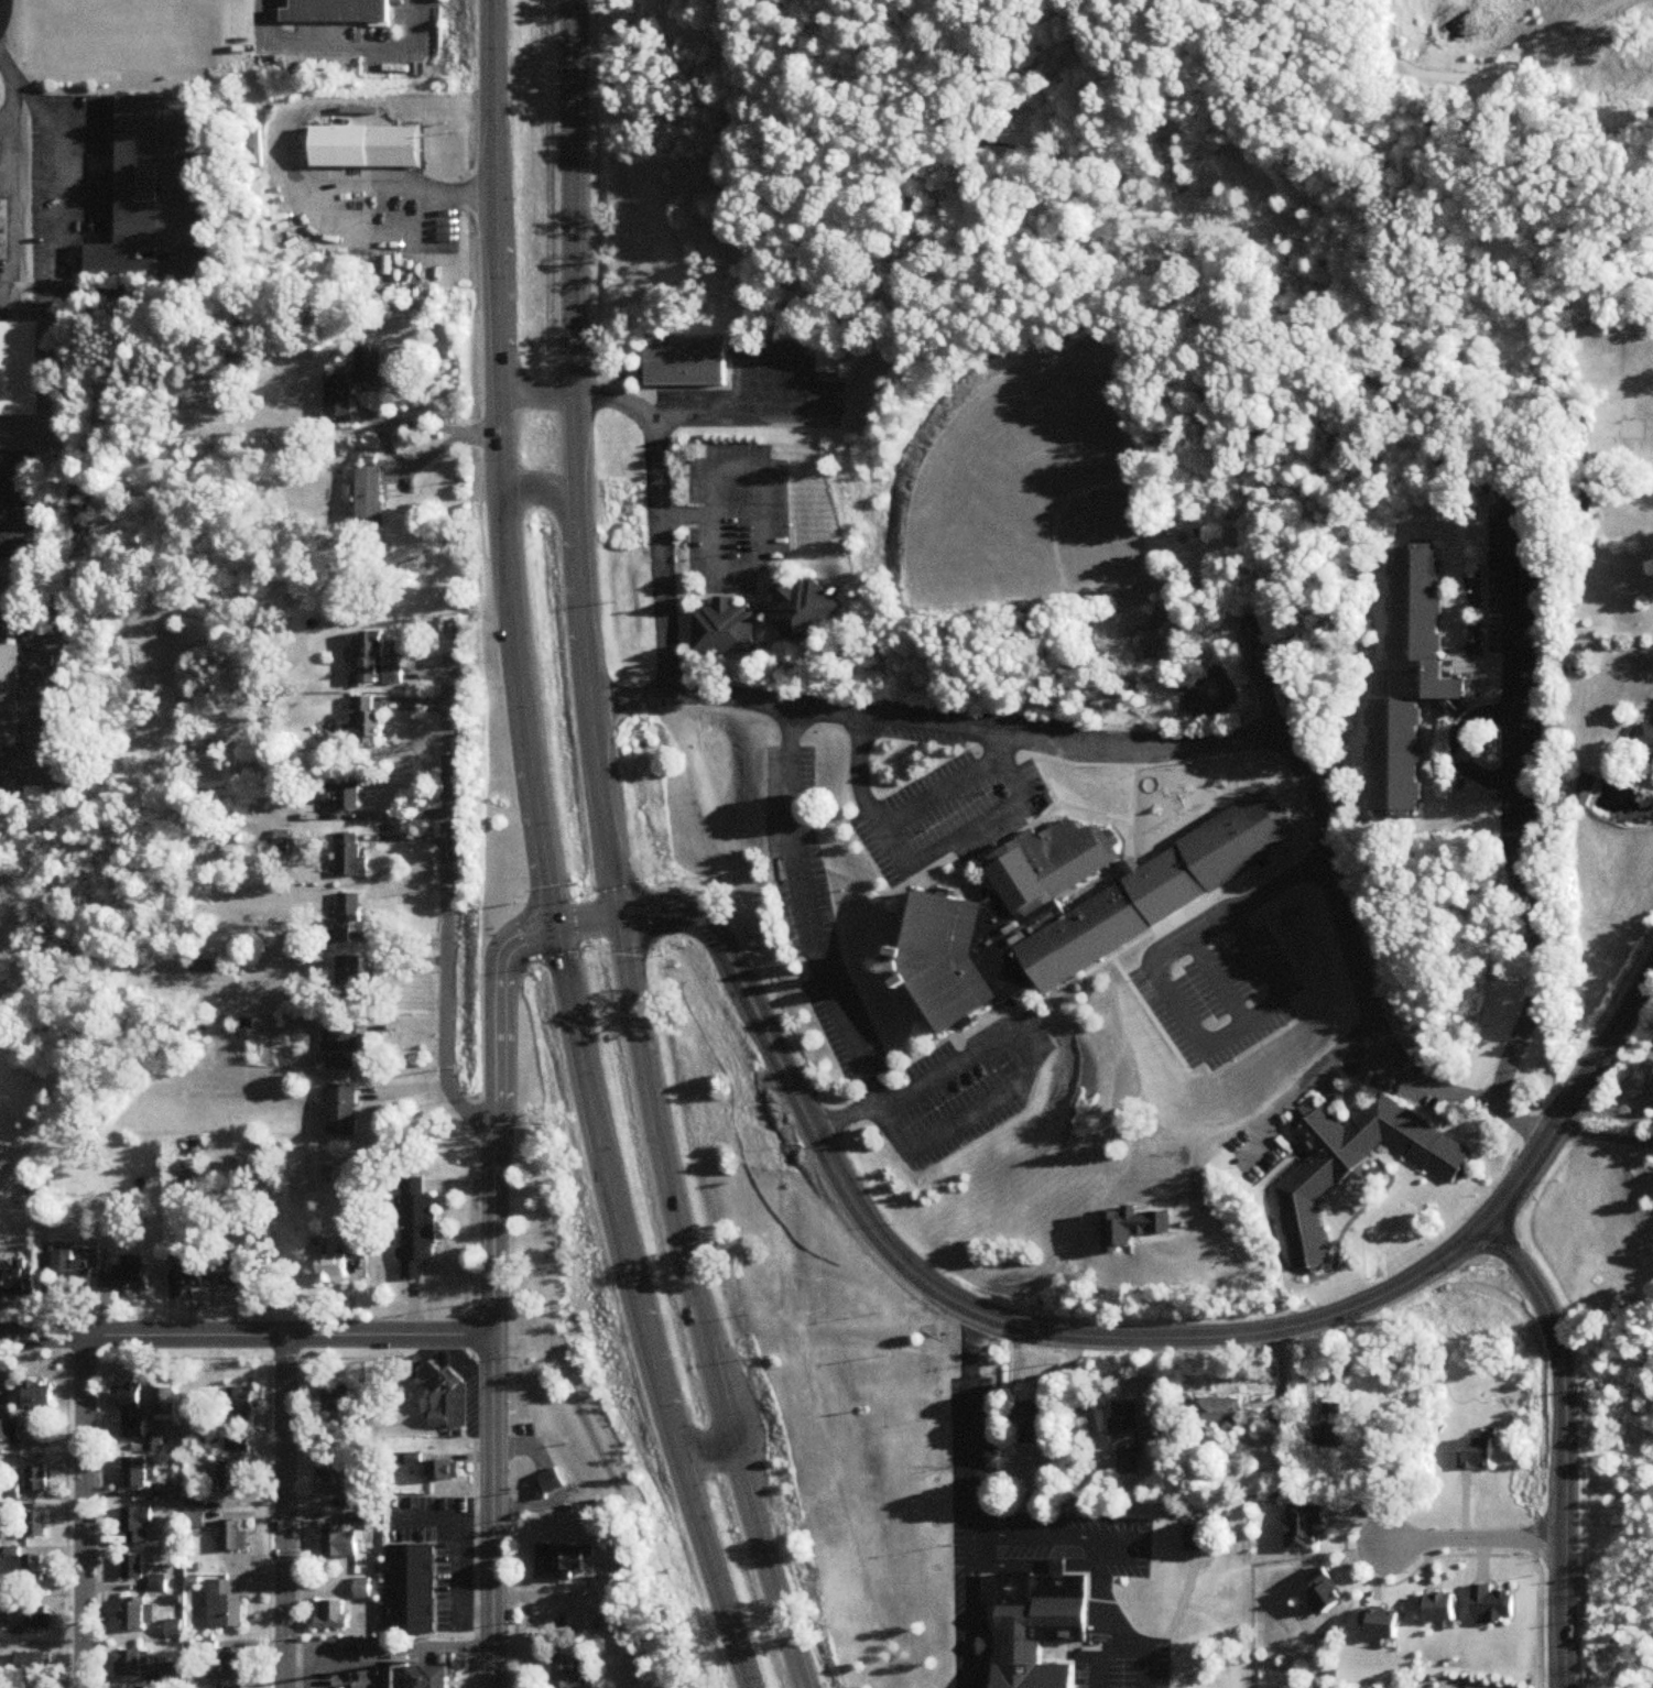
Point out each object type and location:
building: (329, 9)
road: (330, 40)
road: (39, 107)
road: (3, 120)
building: (365, 142)
road: (10, 184)
building: (152, 185)
road: (48, 190)
road: (329, 196)
road: (74, 214)
building: (828, 358)
building: (15, 362)
building: (685, 363)
building: (369, 367)
building: (337, 396)
road: (531, 398)
road: (429, 427)
road: (387, 448)
road: (427, 455)
road: (575, 459)
road: (505, 464)
road: (7, 470)
road: (759, 491)
building: (369, 498)
road: (552, 498)
park: (1033, 508)
road: (660, 513)
road: (8, 521)
building: (1536, 579)
building: (803, 610)
building: (1274, 623)
building: (724, 629)
building: (376, 662)
building: (1411, 680)
building: (9, 695)
road: (36, 697)
building: (367, 722)
road: (933, 726)
building: (1646, 737)
road: (1462, 747)
road: (1138, 767)
building: (1589, 788)
building: (346, 798)
road: (1129, 815)
road: (902, 818)
road: (1119, 818)
road: (1109, 824)
road: (967, 832)
road: (1511, 834)
park: (1214, 851)
building: (349, 857)
road: (1195, 857)
building: (1239, 880)
road: (950, 884)
road: (887, 894)
road: (1334, 901)
road: (446, 904)
building: (1133, 907)
road: (1183, 913)
road: (694, 917)
building: (344, 918)
traffic signals: (619, 918)
road: (587, 922)
traffic signals: (556, 925)
road: (679, 936)
road: (816, 941)
building: (958, 959)
building: (352, 987)
road: (1273, 1028)
building: (344, 1044)
road: (922, 1057)
road: (1026, 1071)
road: (1349, 1071)
building: (1186, 1074)
road: (1312, 1078)
road: (1575, 1100)
building: (342, 1111)
road: (1611, 1115)
road: (1309, 1128)
road: (1605, 1135)
building: (1351, 1156)
road: (493, 1165)
road: (465, 1227)
road: (1209, 1227)
building: (418, 1228)
building: (355, 1244)
building: (327, 1263)
building: (244, 1267)
building: (76, 1268)
building: (191, 1272)
building: (129, 1276)
building: (17, 1281)
road: (488, 1306)
road: (695, 1307)
road: (638, 1310)
road: (1034, 1329)
road: (246, 1330)
road: (407, 1346)
road: (460, 1360)
building: (39, 1395)
road: (1083, 1395)
building: (336, 1398)
building: (443, 1398)
building: (165, 1404)
building: (240, 1404)
building: (130, 1409)
building: (1222, 1415)
building: (1032, 1424)
building: (1328, 1429)
building: (9, 1431)
park: (859, 1431)
building: (1129, 1436)
road: (1567, 1444)
building: (154, 1445)
road: (702, 1455)
building: (1477, 1455)
building: (411, 1459)
building: (444, 1471)
building: (134, 1473)
building: (232, 1475)
building: (335, 1477)
building: (37, 1480)
building: (548, 1483)
road: (972, 1483)
road: (548, 1484)
building: (360, 1498)
road: (280, 1509)
road: (80, 1510)
road: (295, 1516)
road: (62, 1517)
road: (96, 1517)
road: (263, 1517)
road: (441, 1520)
building: (36, 1525)
building: (138, 1525)
building: (1304, 1526)
building: (233, 1536)
road: (1472, 1538)
building: (1195, 1539)
building: (340, 1543)
road: (1113, 1551)
road: (1098, 1554)
road: (492, 1560)
building: (562, 1561)
building: (132, 1566)
building: (33, 1569)
road: (1403, 1570)
road: (1244, 1575)
road: (459, 1582)
building: (367, 1589)
building: (412, 1590)
building: (1327, 1591)
road: (546, 1596)
building: (1492, 1604)
building: (224, 1607)
building: (1443, 1609)
road: (971, 1610)
road: (1105, 1610)
building: (134, 1614)
building: (333, 1615)
building: (31, 1618)
building: (1035, 1624)
building: (1384, 1624)
building: (174, 1630)
road: (388, 1648)
road: (1108, 1653)
building: (35, 1663)
building: (130, 1663)
building: (237, 1665)
road: (1145, 1668)
building: (567, 1670)
building: (171, 1674)
building: (429, 1678)
road: (294, 1684)

